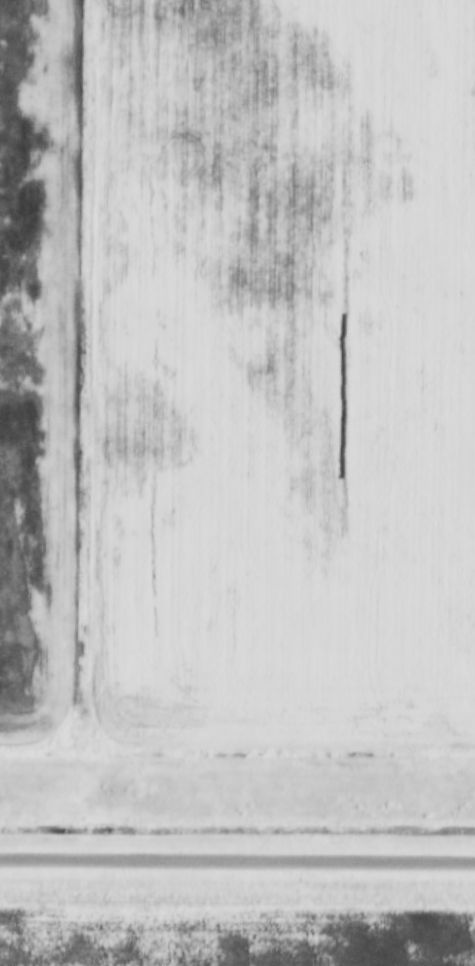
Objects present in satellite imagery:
road: (237, 862)

